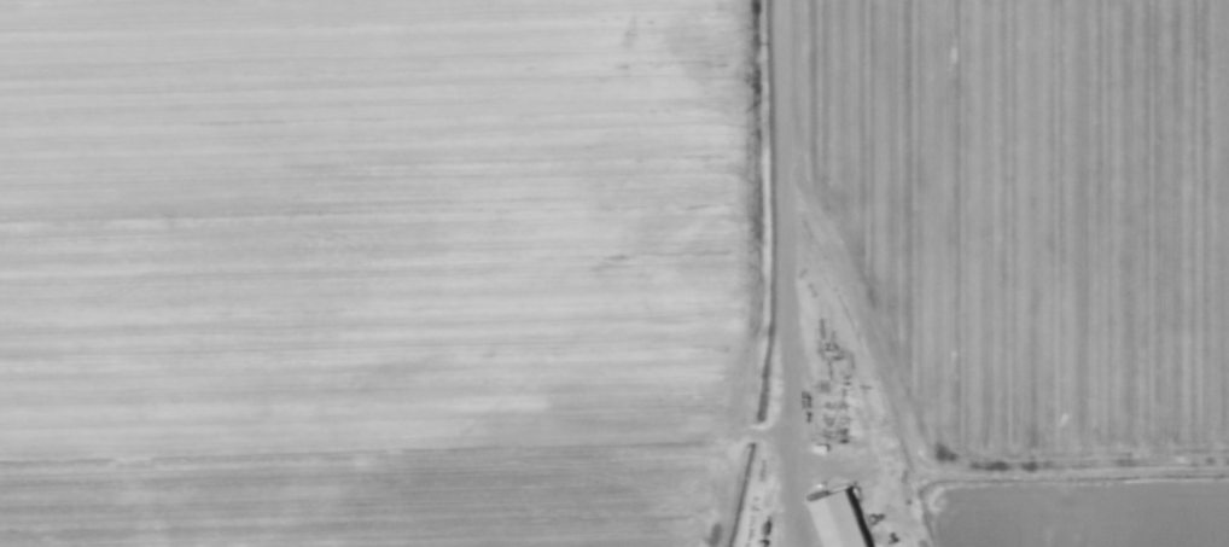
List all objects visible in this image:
road: (785, 275)
building: (838, 522)

